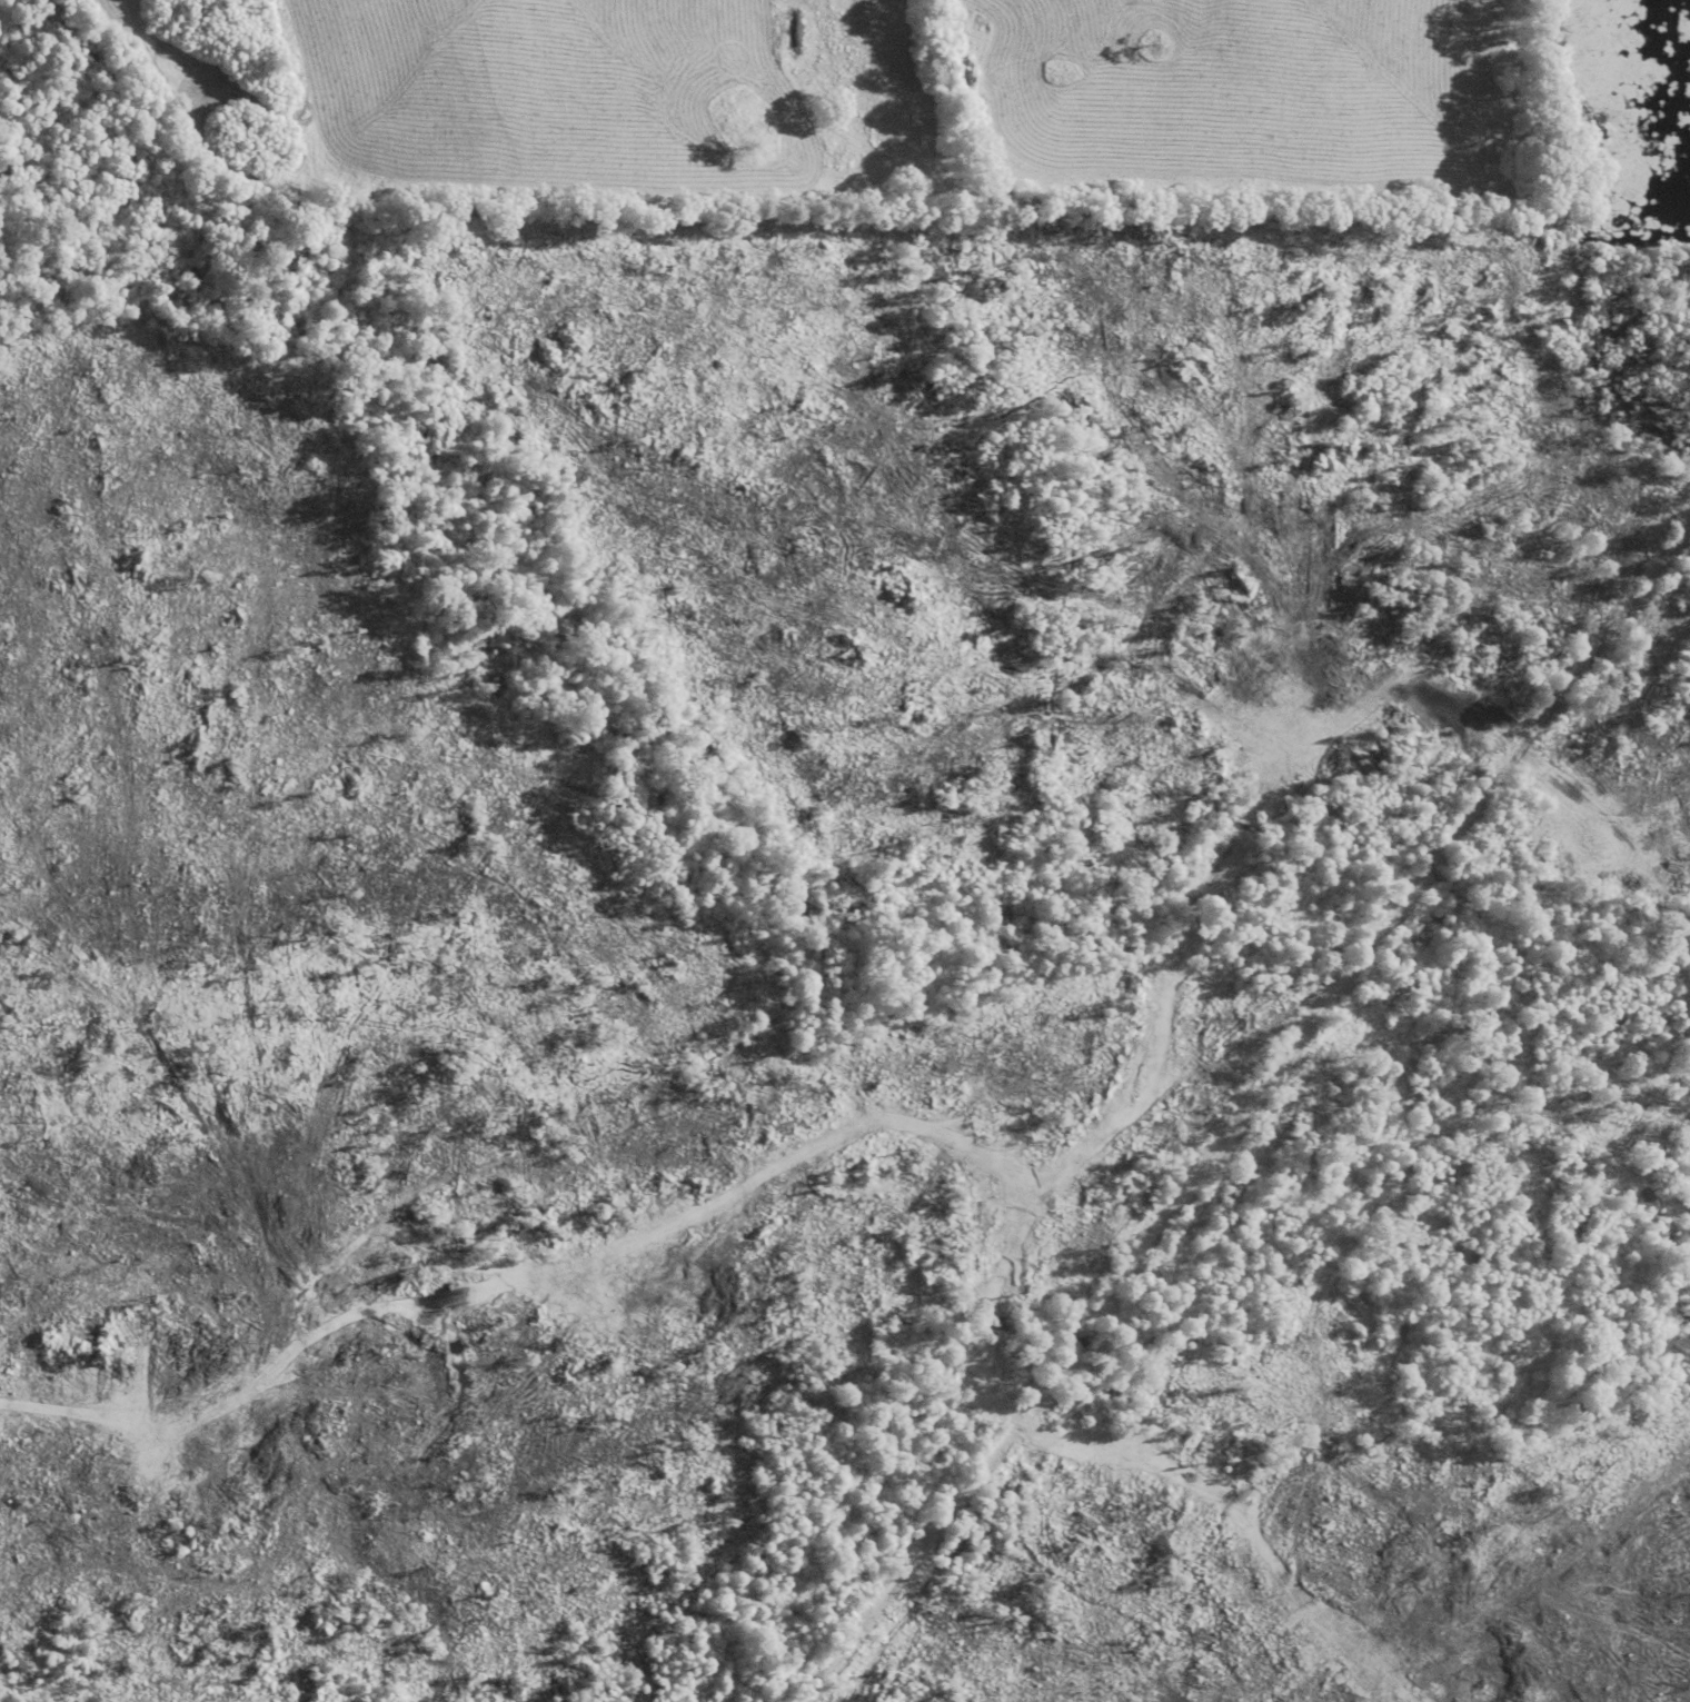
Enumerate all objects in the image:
road: (975, 1151)

